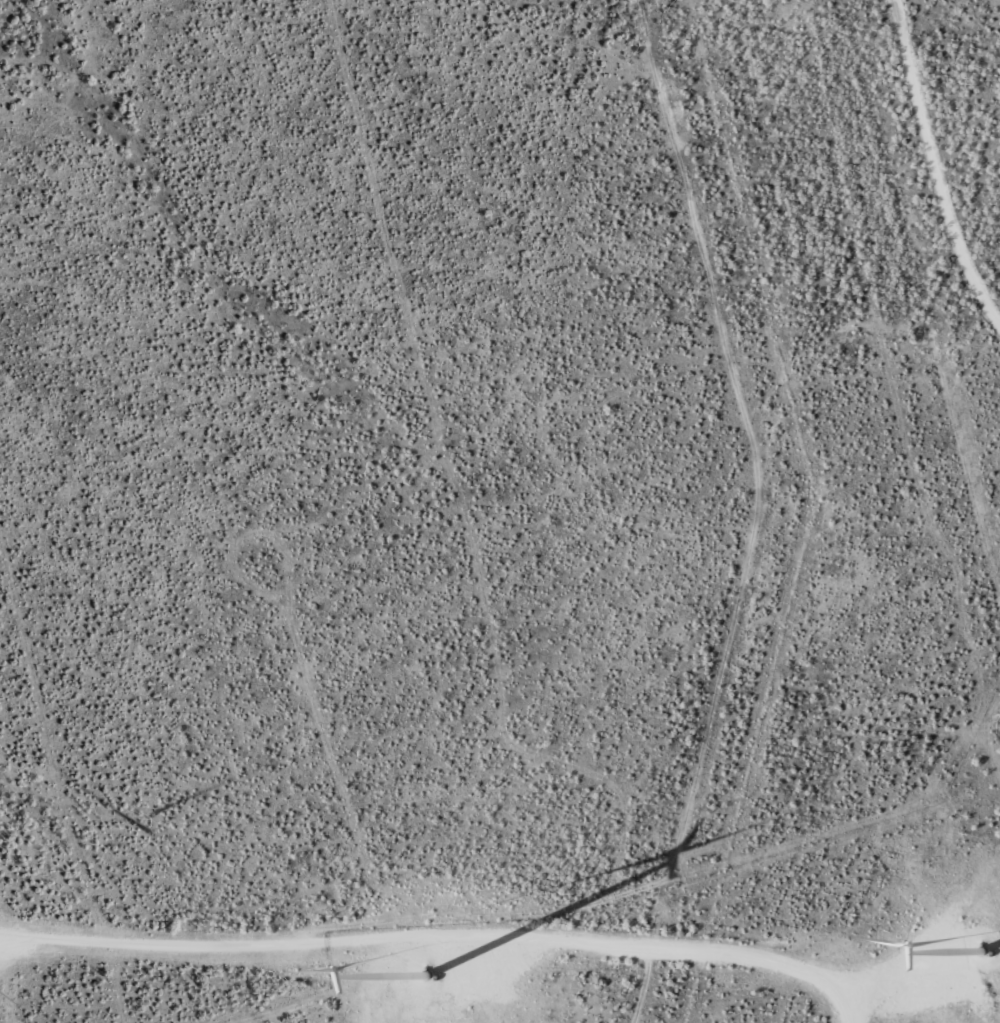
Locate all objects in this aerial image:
road: (946, 147)
wind turbine: (970, 953)
wind turbine: (440, 966)

